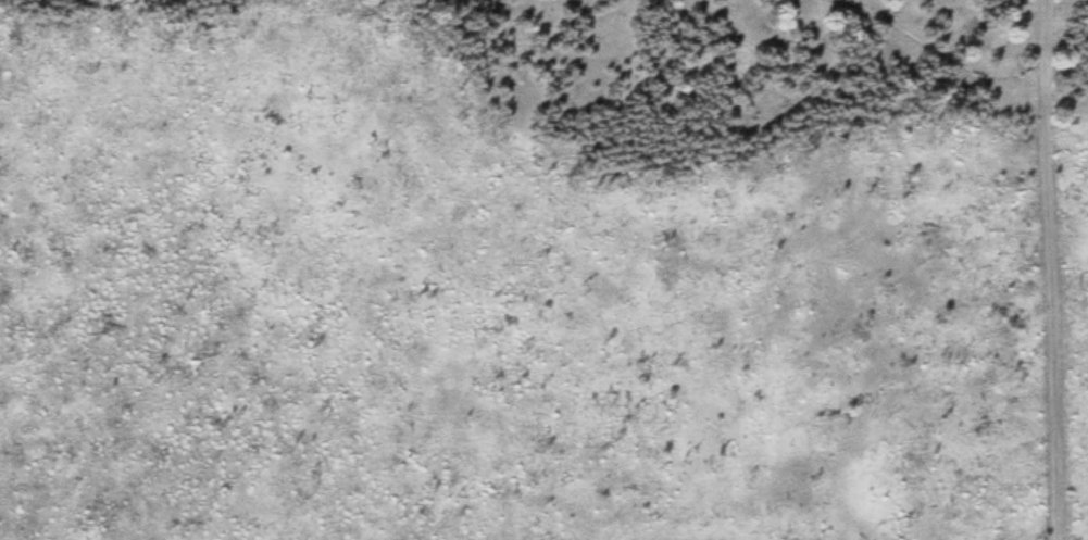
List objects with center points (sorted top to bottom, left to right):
road: (1054, 269)

